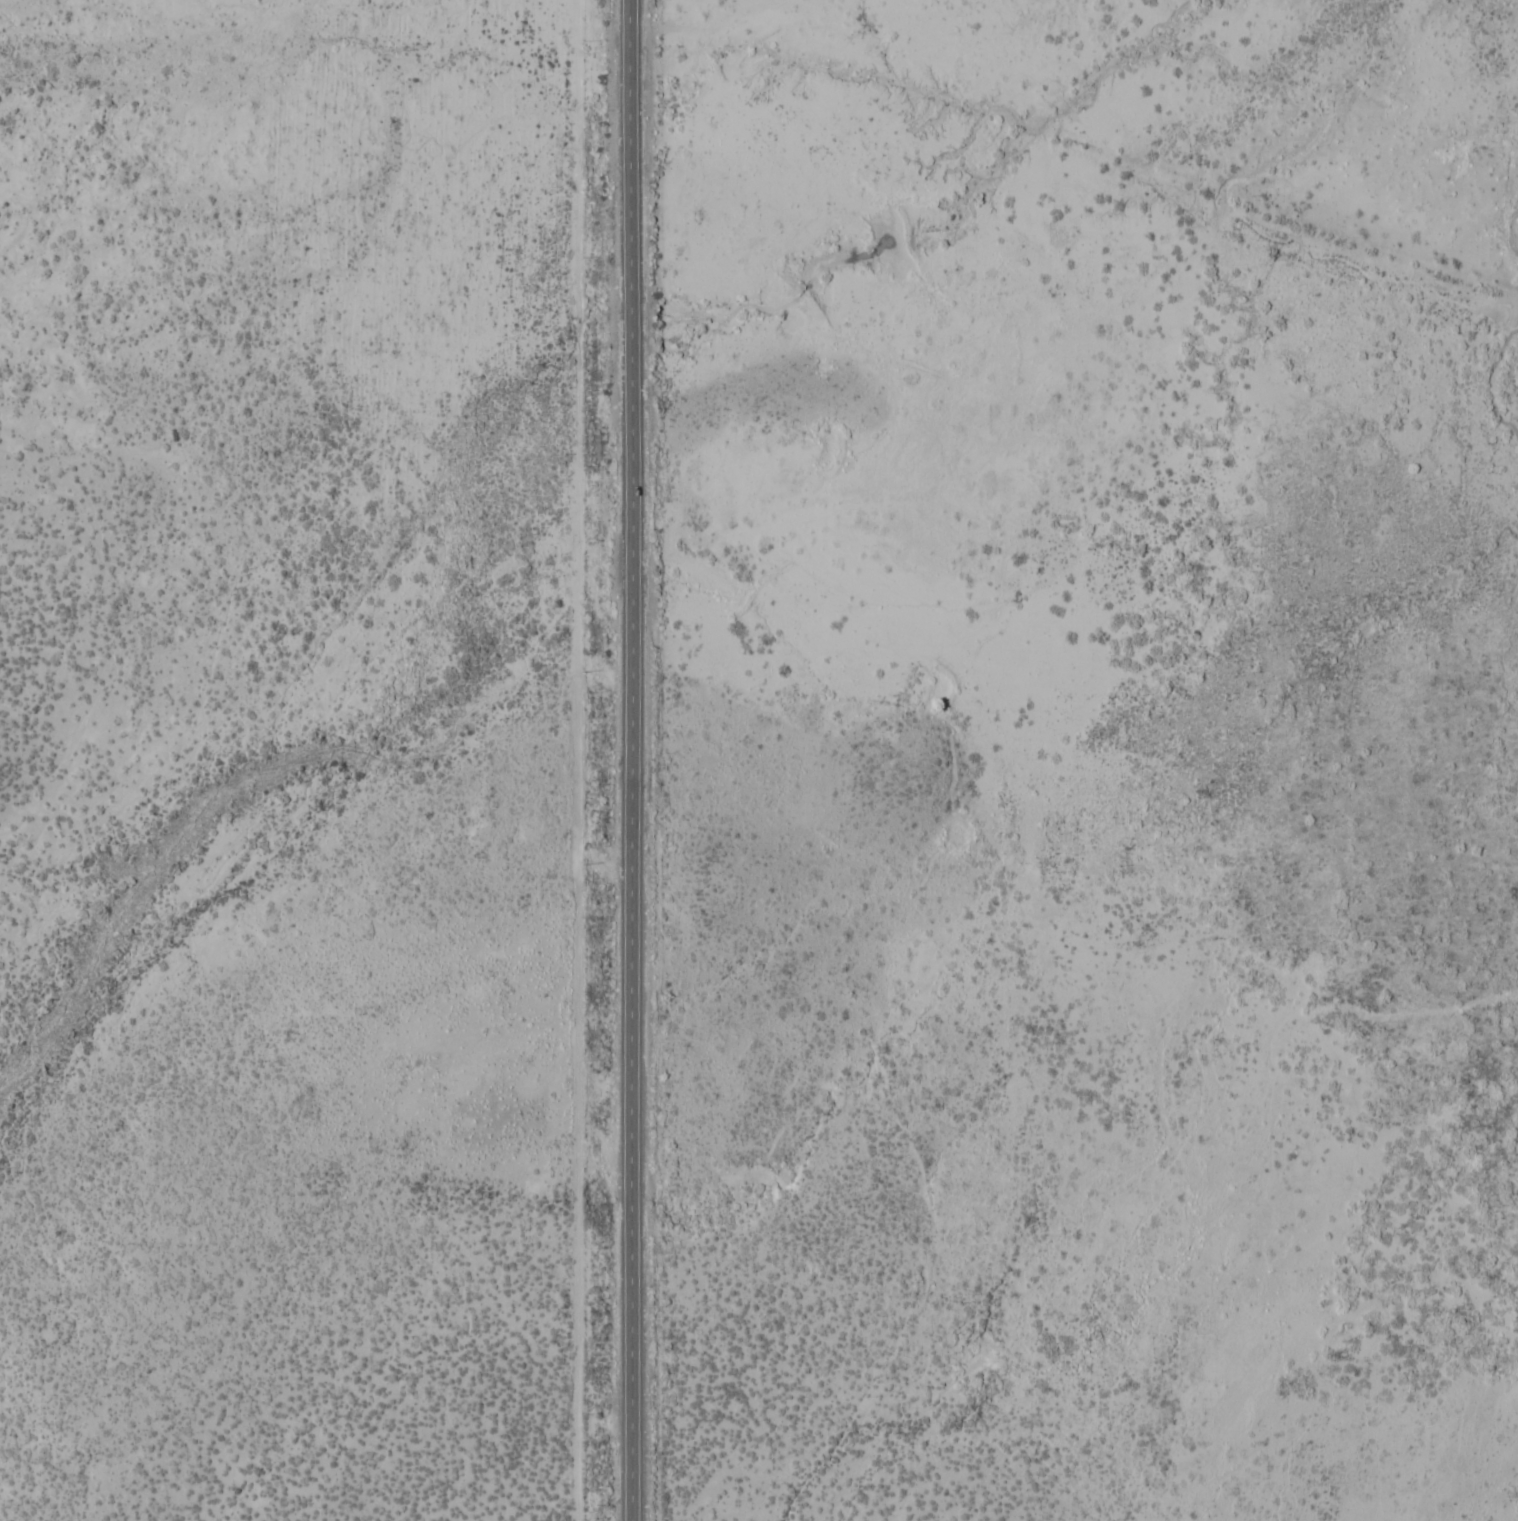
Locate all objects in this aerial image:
road: (577, 760)
road: (626, 760)

